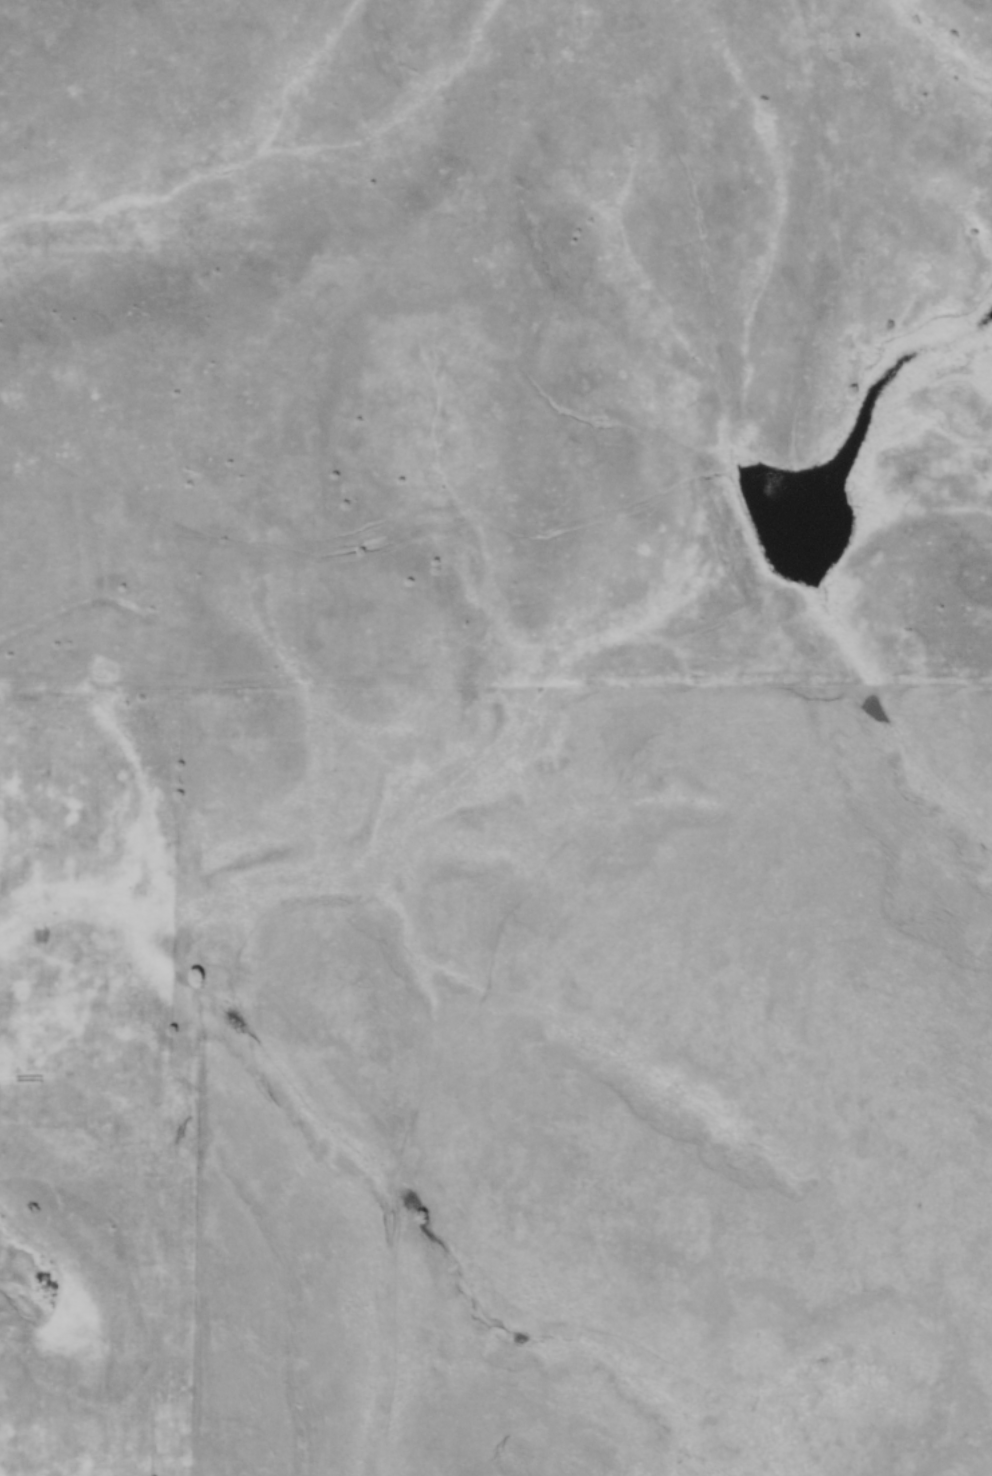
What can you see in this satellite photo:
power tower: (179, 1143)
power tower: (500, 1459)

